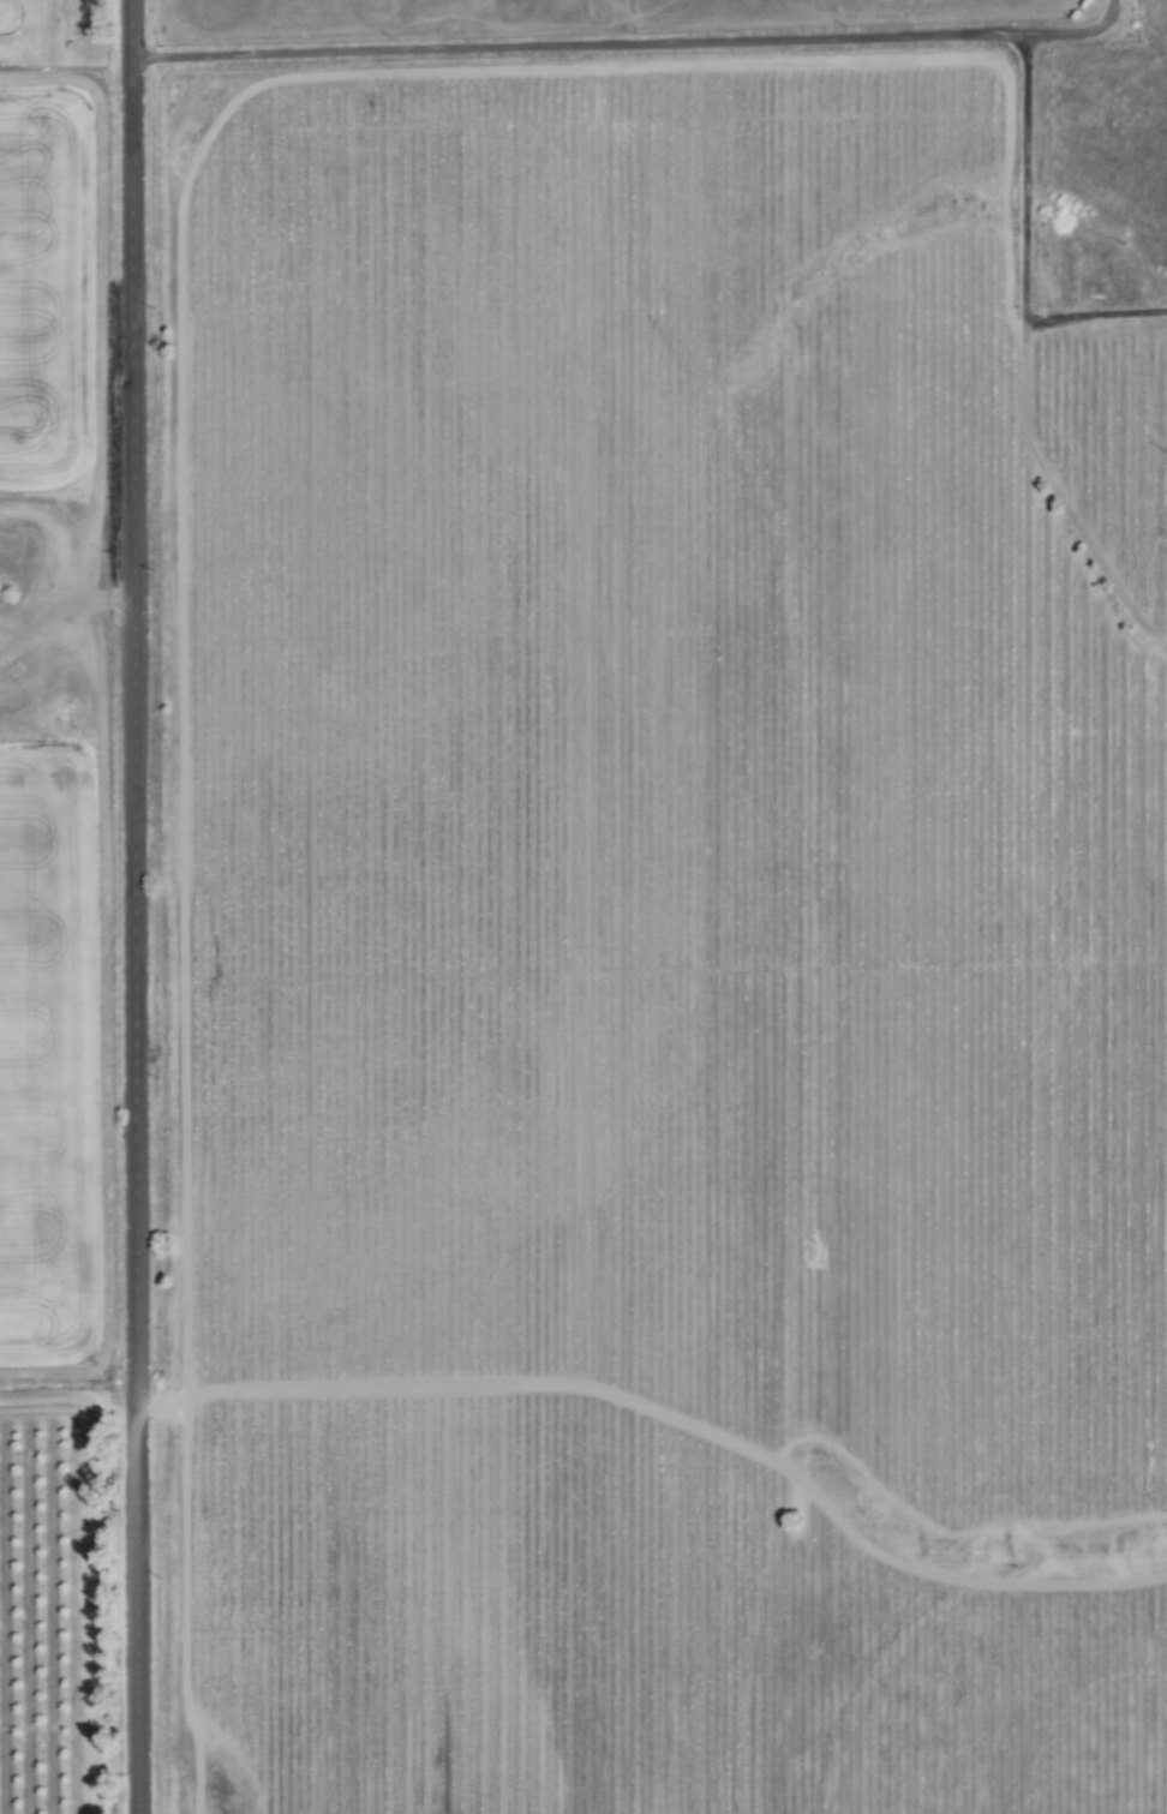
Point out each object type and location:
road: (630, 46)
road: (1025, 363)
road: (66, 606)
road: (134, 906)

